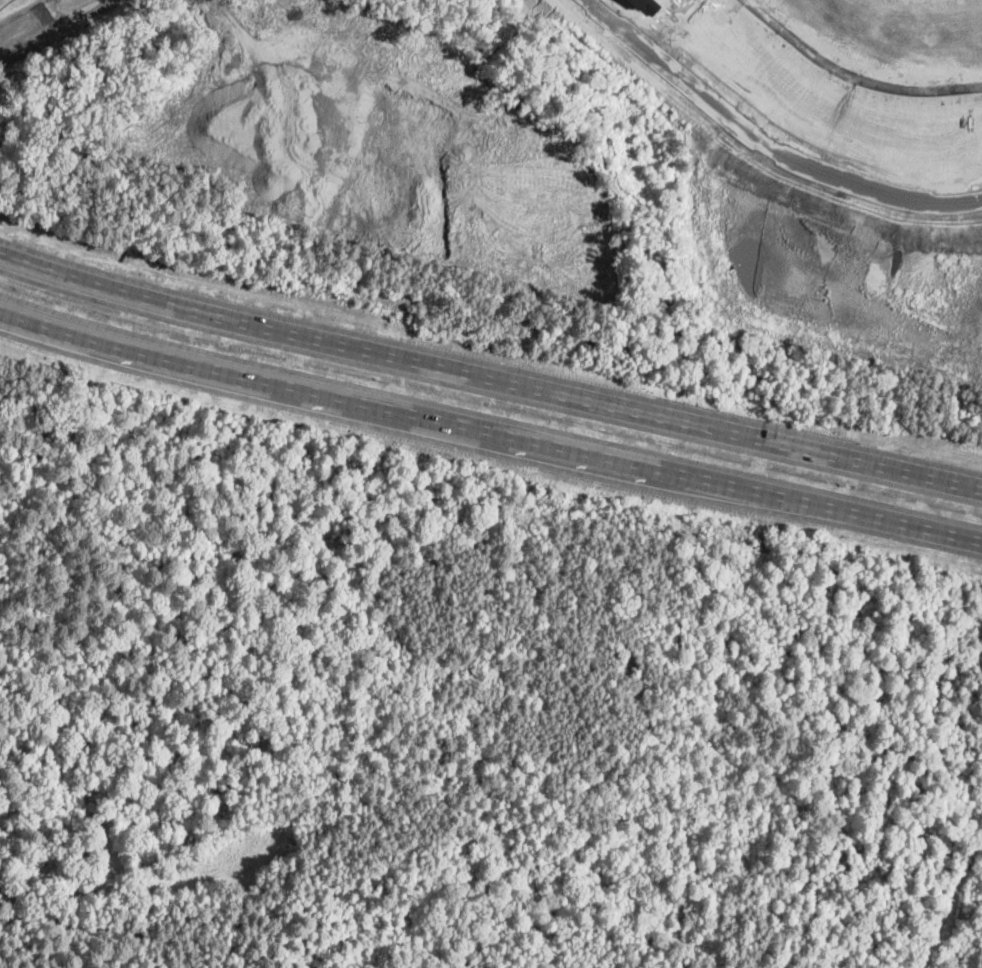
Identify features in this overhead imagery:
road: (856, 71)
road: (764, 145)
road: (489, 377)
road: (489, 434)

